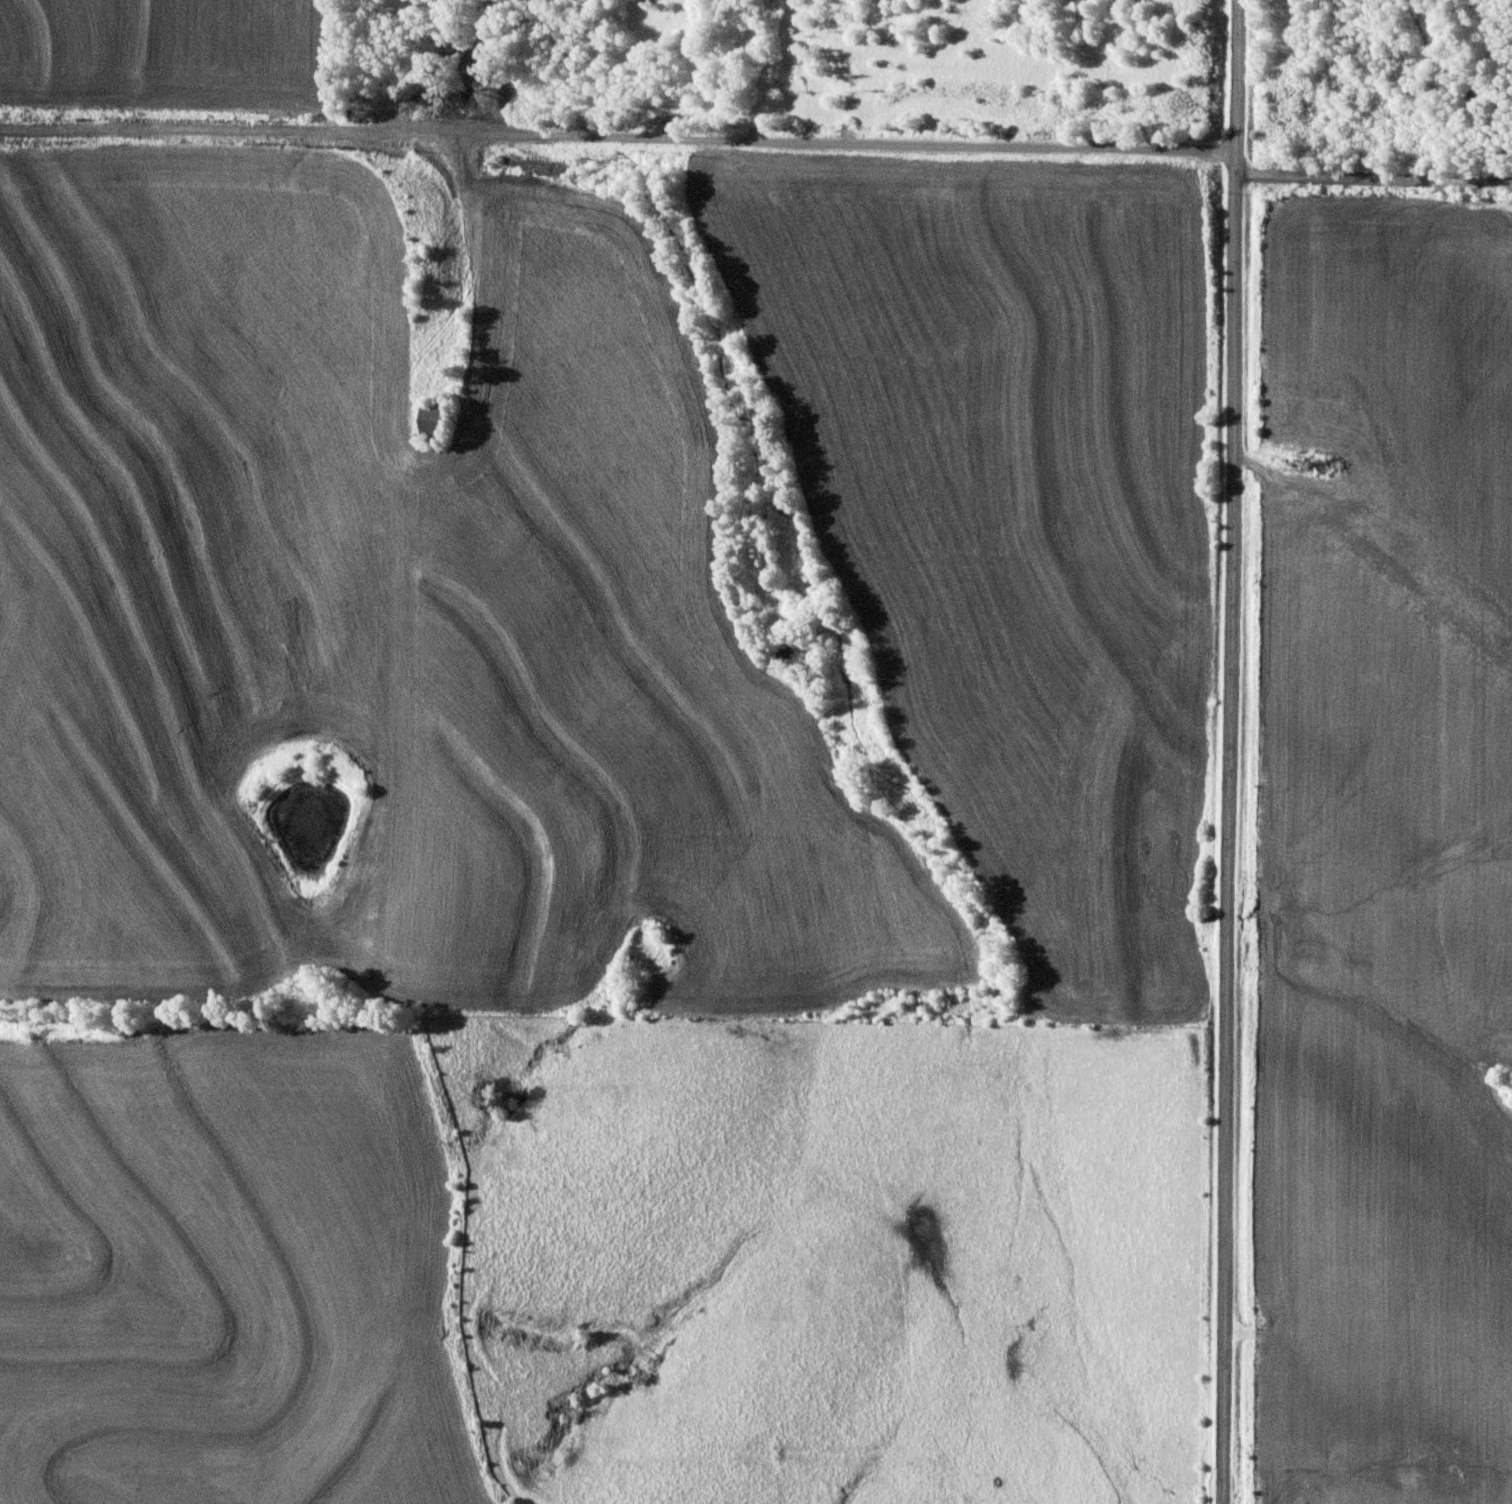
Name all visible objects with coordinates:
road: (617, 137)
road: (1373, 173)
building: (434, 420)
building: (1405, 534)
road: (1227, 751)

